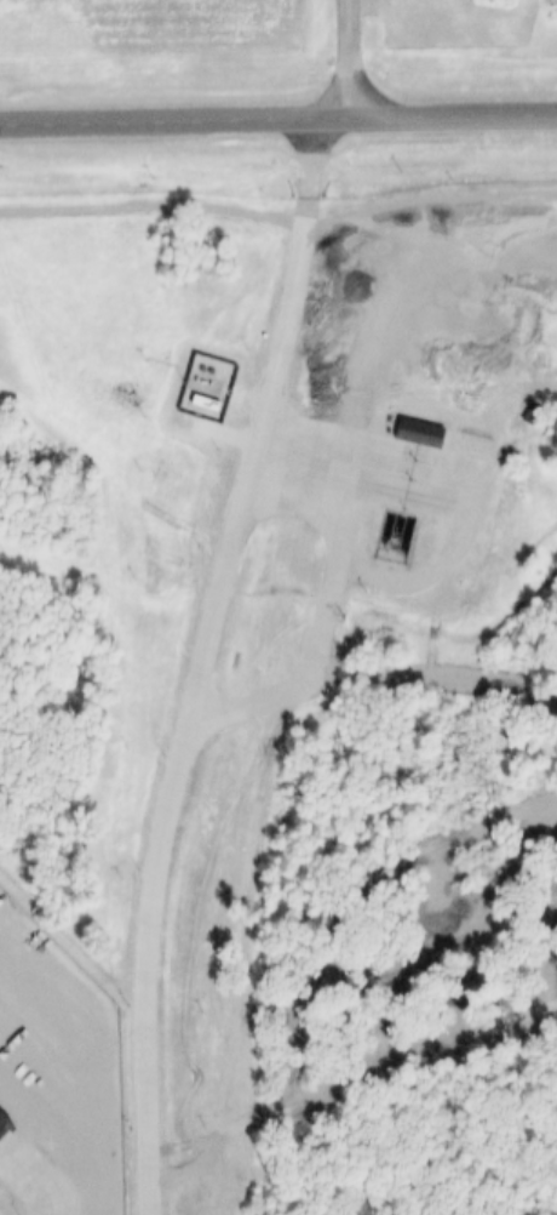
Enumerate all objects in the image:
road: (352, 58)
road: (277, 118)
building: (196, 387)
building: (407, 432)
road: (333, 586)
road: (203, 662)
building: (214, 683)
building: (2, 1124)
road: (28, 1182)

